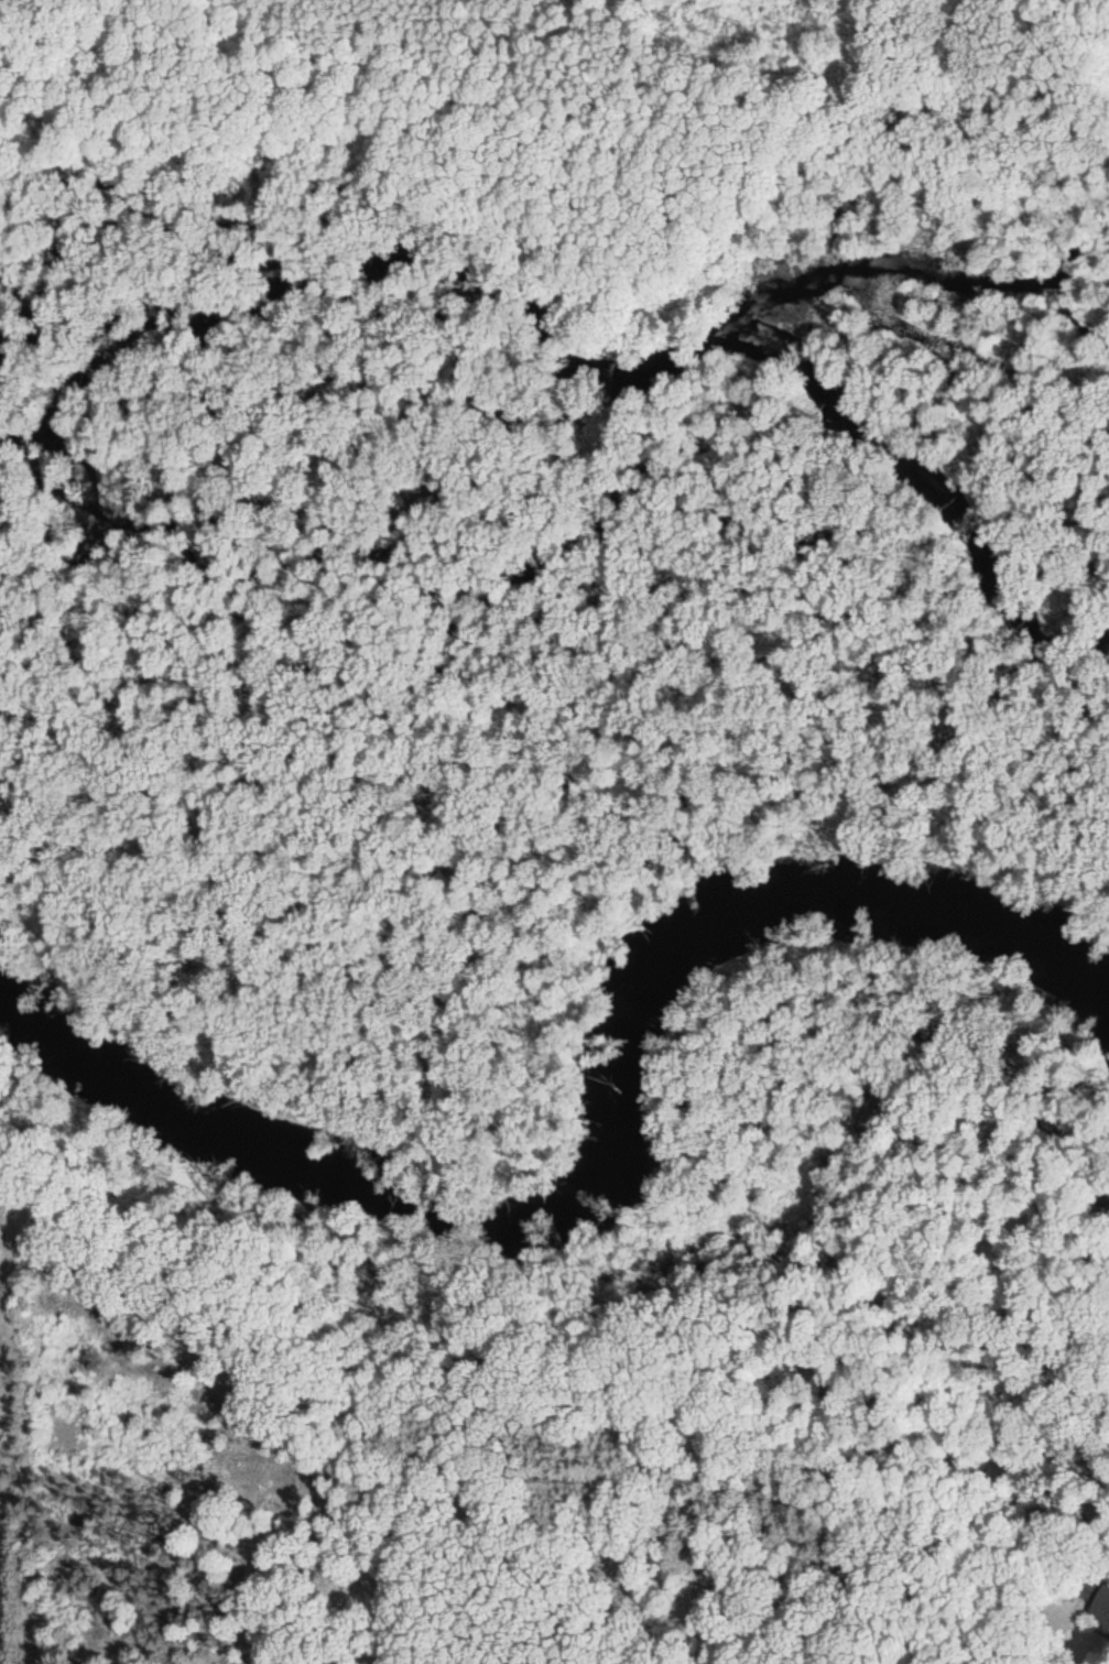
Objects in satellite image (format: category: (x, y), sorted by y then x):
river: (598, 1149)
building: (1103, 1603)

